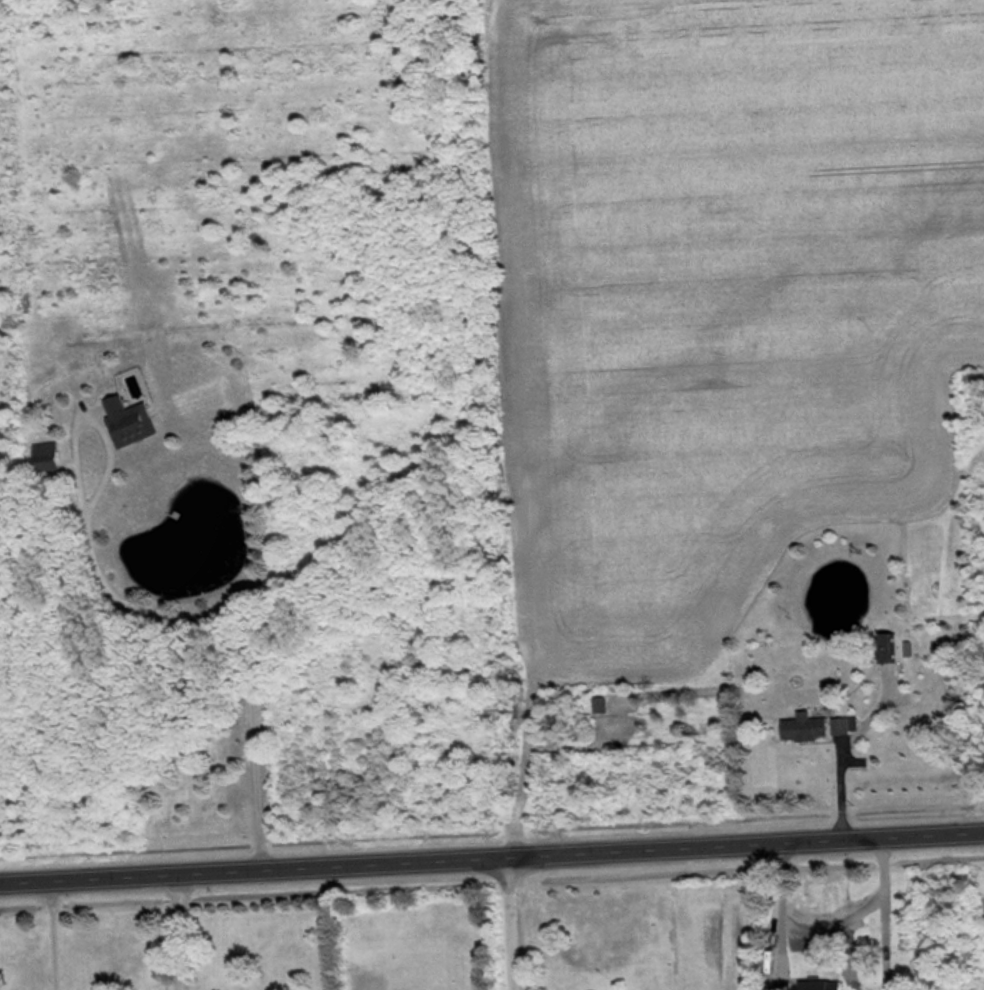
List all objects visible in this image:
building: (133, 420)
building: (604, 704)
building: (818, 725)
road: (491, 854)
road: (504, 922)
road: (179, 930)
building: (821, 984)

